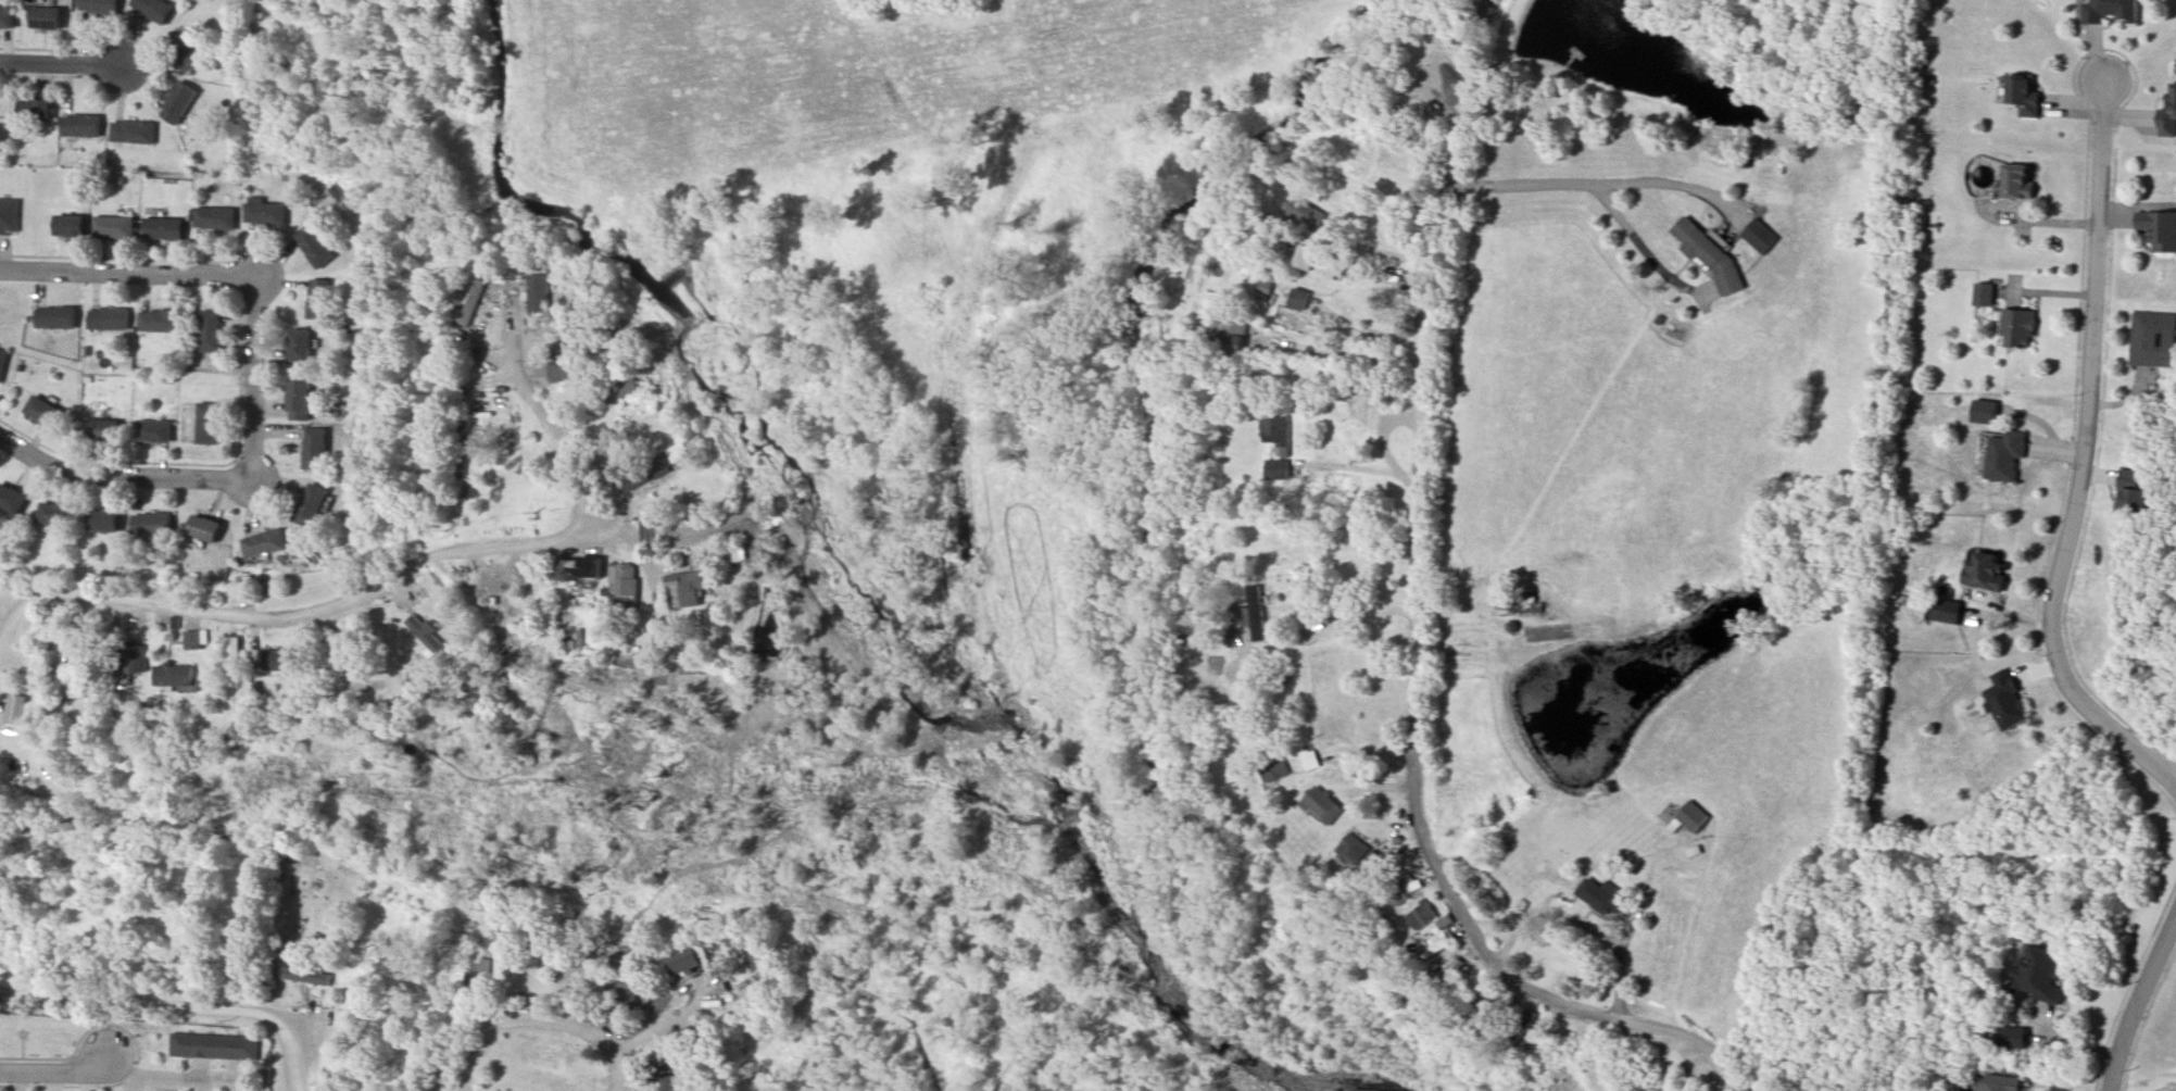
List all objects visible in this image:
building: (99, 7)
building: (152, 9)
building: (2110, 12)
building: (7, 16)
building: (45, 20)
building: (188, 49)
road: (62, 64)
road: (1491, 65)
park: (357, 83)
building: (2022, 93)
building: (178, 101)
building: (2165, 106)
building: (35, 110)
building: (81, 126)
building: (133, 131)
road: (1584, 184)
road: (1663, 184)
building: (2017, 184)
building: (264, 212)
building: (1303, 214)
building: (7, 215)
building: (213, 217)
building: (67, 225)
building: (113, 227)
building: (163, 228)
building: (2156, 228)
building: (1760, 236)
building: (313, 244)
road: (148, 253)
building: (1710, 255)
building: (1319, 262)
road: (130, 272)
building: (546, 287)
building: (1984, 293)
building: (320, 298)
building: (1297, 299)
building: (52, 317)
building: (105, 319)
building: (159, 321)
building: (2017, 327)
building: (209, 330)
road: (1368, 331)
building: (1229, 336)
building: (2152, 339)
building: (299, 344)
building: (1, 359)
building: (559, 372)
road: (259, 380)
building: (616, 393)
building: (298, 398)
road: (273, 405)
building: (39, 410)
road: (238, 410)
building: (207, 423)
building: (102, 428)
building: (154, 432)
road: (280, 432)
building: (1275, 432)
building: (313, 448)
road: (2086, 456)
building: (2002, 457)
building: (667, 460)
building: (1276, 469)
road: (1359, 472)
building: (634, 477)
road: (122, 478)
road: (280, 488)
building: (2134, 492)
building: (1612, 496)
road: (140, 497)
building: (11, 499)
road: (217, 502)
building: (307, 503)
road: (252, 511)
building: (53, 513)
building: (102, 523)
building: (151, 523)
building: (200, 527)
road: (630, 528)
building: (650, 530)
building: (263, 543)
building: (726, 554)
building: (1985, 569)
building: (570, 570)
building: (622, 580)
road: (385, 589)
building: (680, 590)
building: (1255, 611)
building: (1945, 611)
road: (1337, 627)
building: (425, 637)
building: (192, 640)
building: (234, 648)
building: (130, 659)
building: (282, 660)
building: (340, 668)
building: (174, 676)
road: (1417, 681)
building: (77, 690)
building: (2008, 704)
building: (1203, 706)
building: (1311, 760)
building: (1273, 770)
dam: (1539, 774)
building: (1322, 804)
building: (1689, 818)
building: (1353, 849)
building: (1396, 894)
building: (1601, 896)
building: (1420, 915)
building: (1437, 939)
building: (172, 958)
building: (684, 962)
building: (2040, 967)
building: (303, 976)
building: (476, 979)
building: (1442, 981)
building: (631, 990)
building: (530, 996)
road: (181, 1006)
road: (2141, 1008)
building: (1494, 1012)
building: (397, 1013)
road: (539, 1021)
building: (1519, 1031)
building: (697, 1036)
building: (213, 1045)
road: (198, 1066)
road: (230, 1067)
road: (56, 1071)
road: (167, 1074)
building: (440, 1074)
road: (16, 1080)
road: (52, 1081)
road: (89, 1081)
road: (131, 1081)
building: (679, 1081)
road: (166, 1082)
road: (200, 1082)
building: (2000, 1082)
road: (230, 1083)

